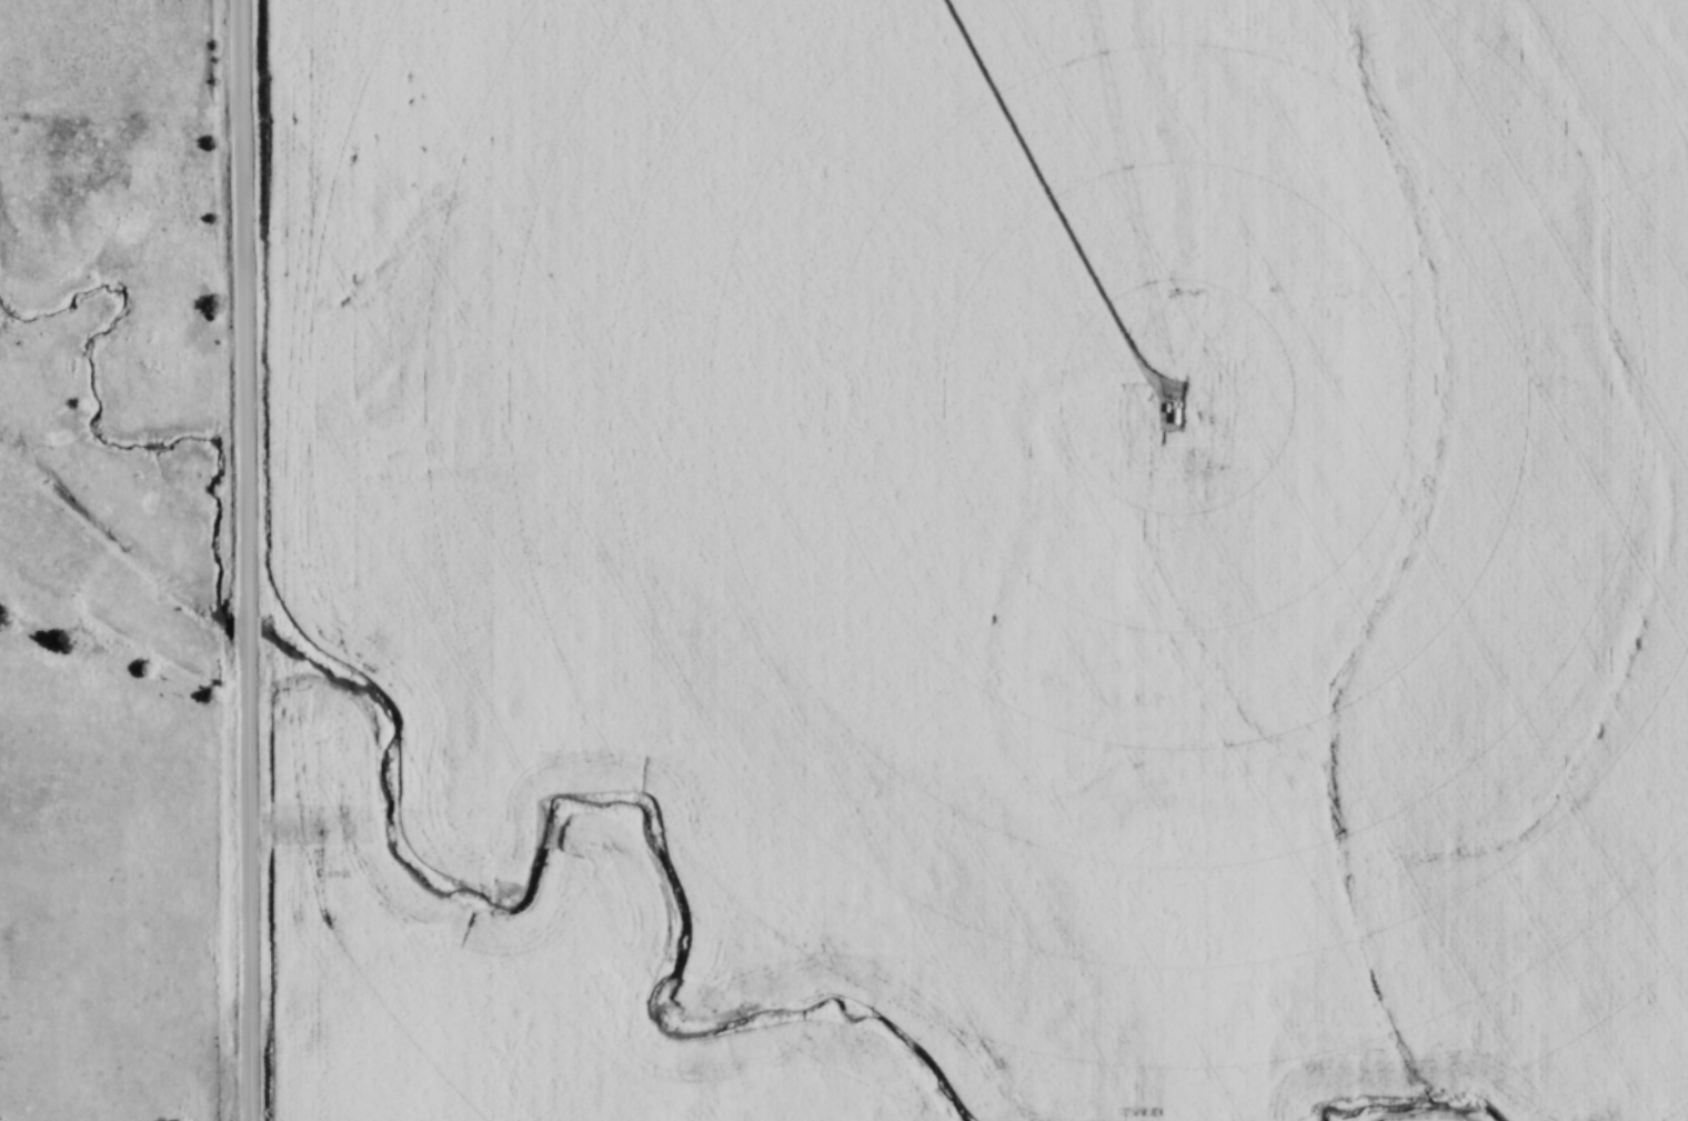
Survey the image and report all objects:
road: (245, 560)

